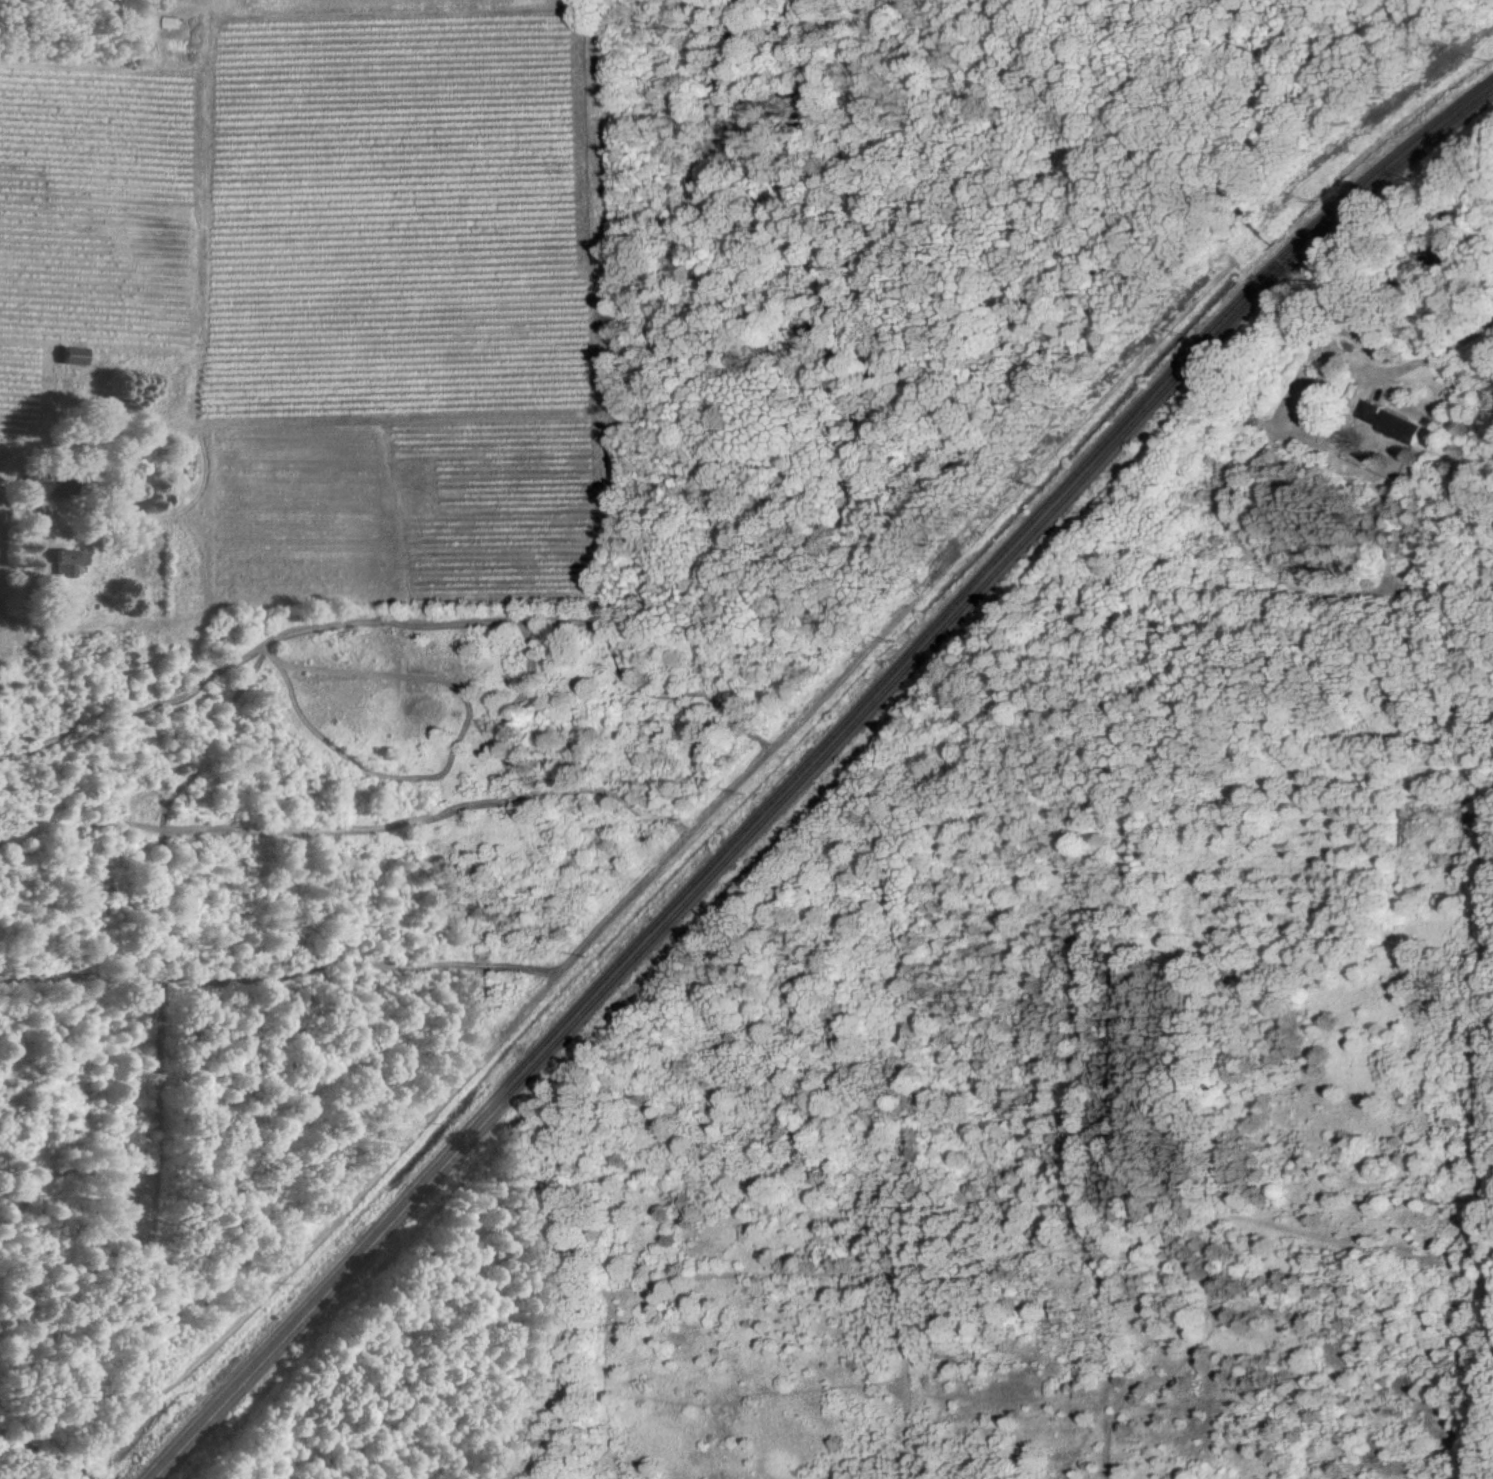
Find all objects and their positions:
building: (72, 356)
road: (1427, 357)
building: (1386, 423)
building: (68, 563)
railway: (801, 764)
railway: (808, 770)

